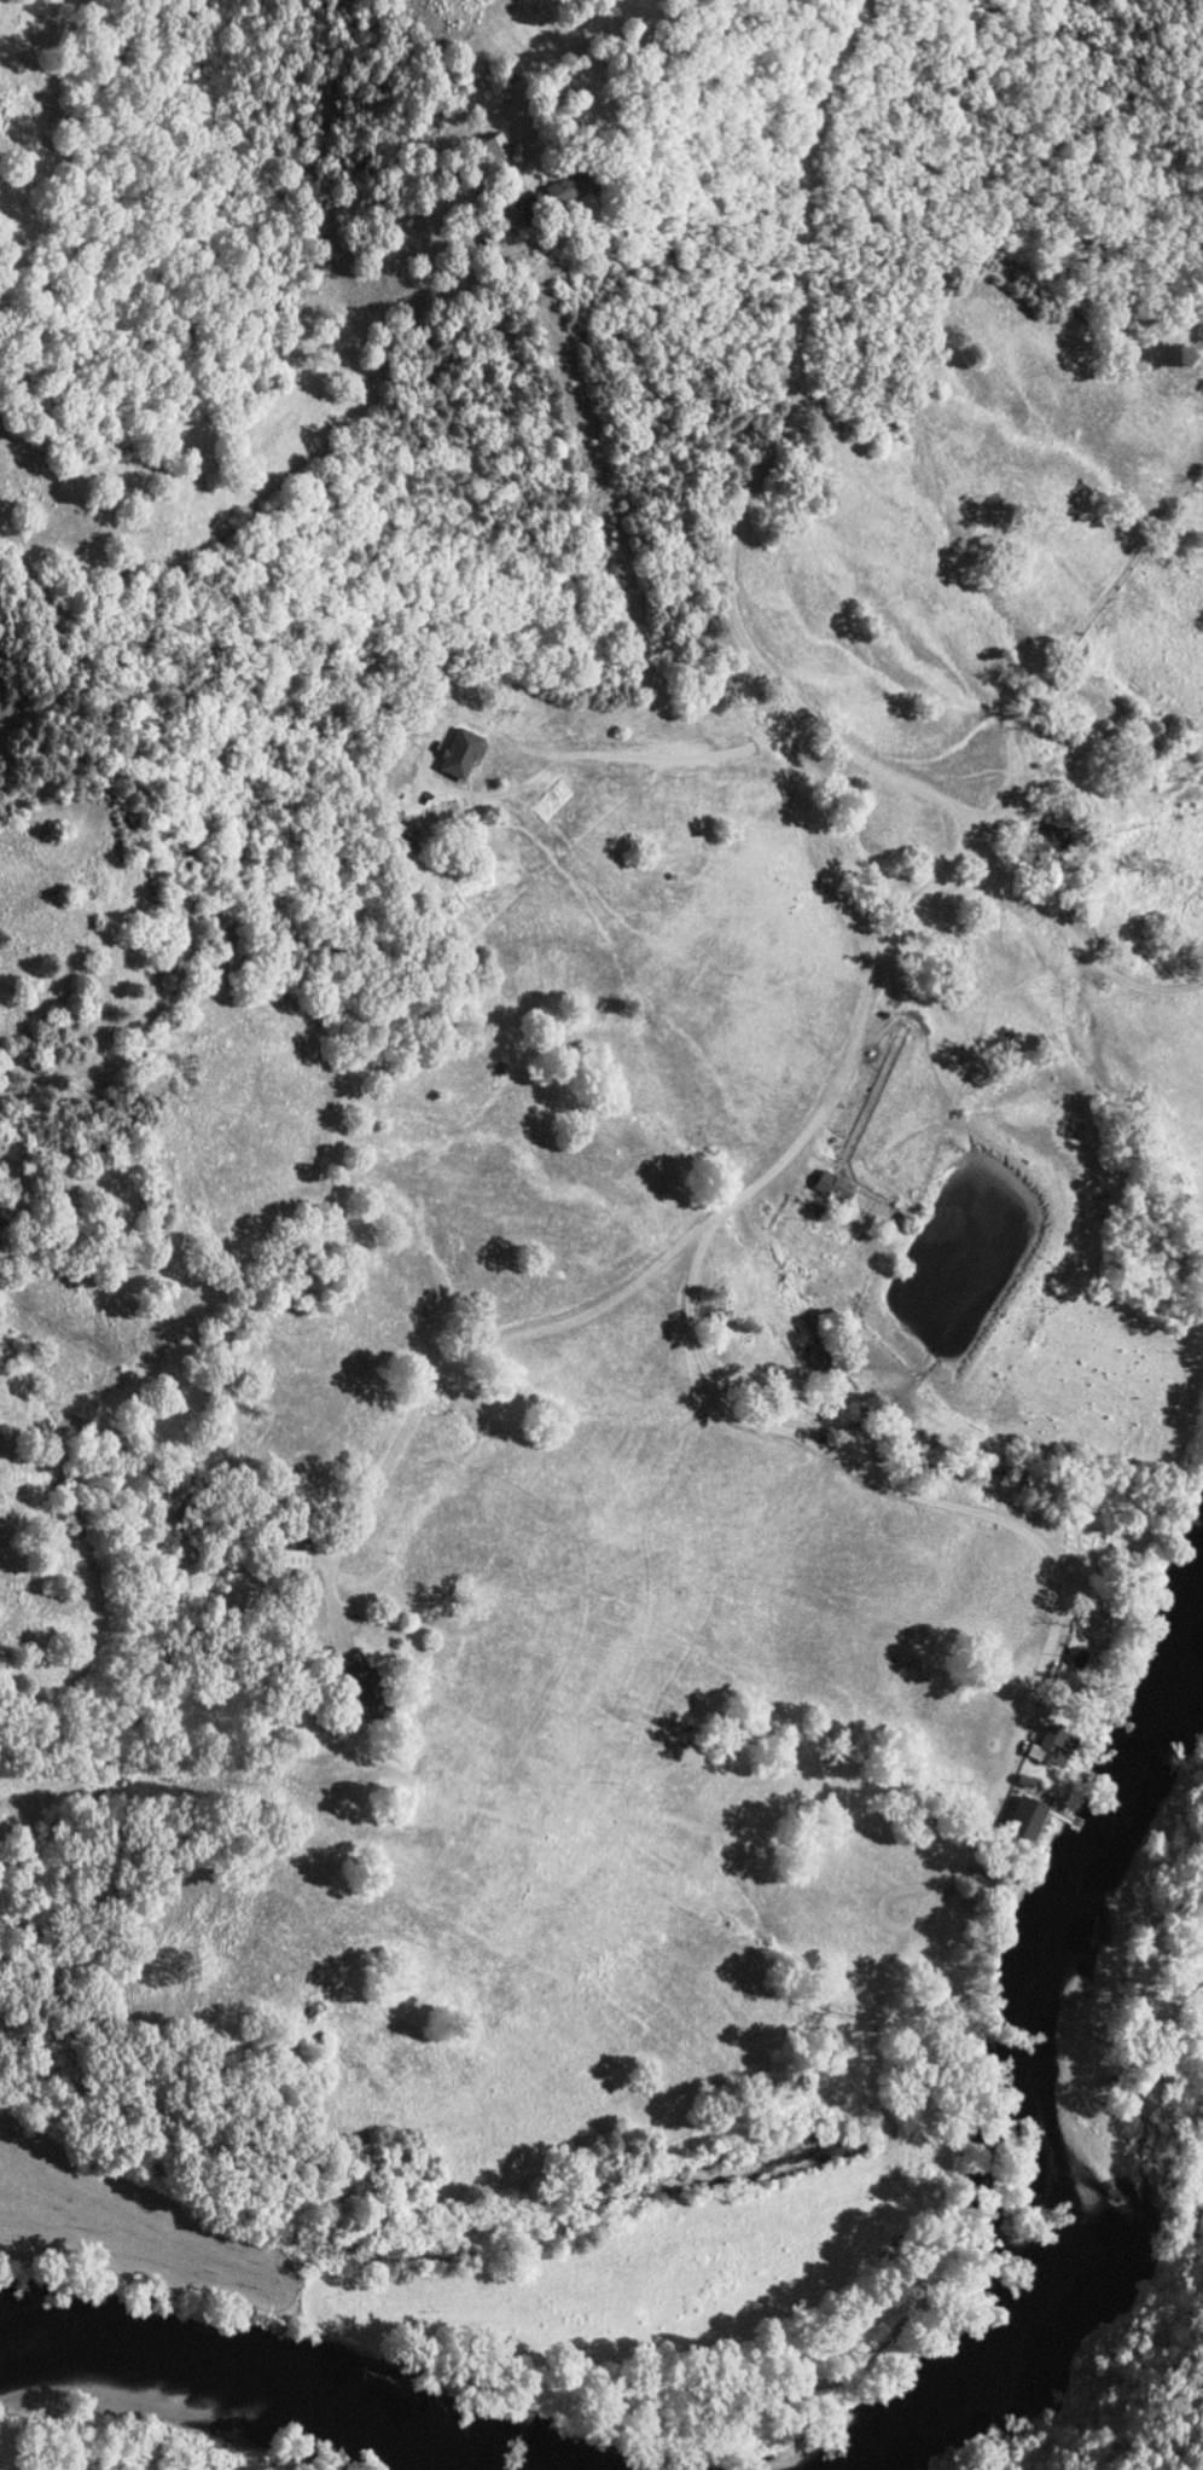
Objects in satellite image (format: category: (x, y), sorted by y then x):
road: (554, 47)
building: (481, 147)
building: (544, 191)
road: (781, 694)
building: (453, 754)
building: (839, 1187)
road: (703, 1372)
building: (302, 1560)
building: (1100, 1633)
building: (1075, 1657)
building: (366, 1672)
building: (1033, 1815)
river: (1056, 2066)
river: (239, 2370)

